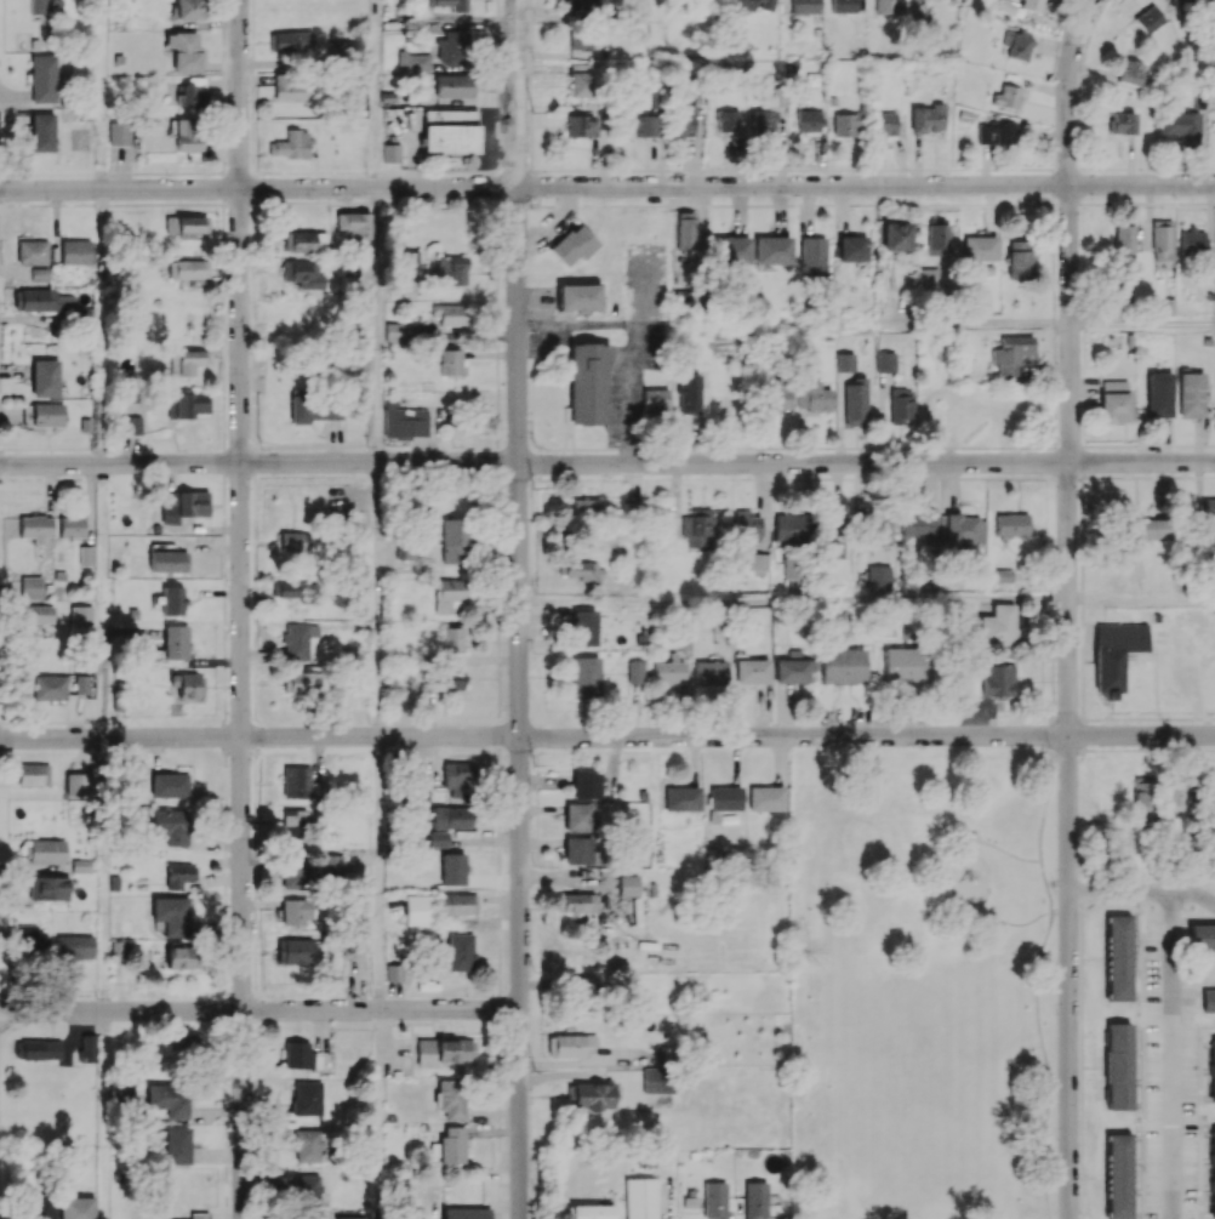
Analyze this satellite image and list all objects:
building: (1181, 2)
building: (38, 4)
building: (446, 4)
building: (581, 5)
building: (749, 5)
building: (1032, 5)
building: (805, 6)
building: (842, 6)
building: (886, 6)
building: (188, 8)
building: (1148, 19)
building: (290, 41)
building: (581, 44)
building: (1017, 44)
building: (454, 47)
building: (183, 51)
building: (1130, 72)
building: (44, 78)
building: (580, 79)
building: (454, 85)
building: (291, 86)
road: (1069, 90)
building: (192, 92)
road: (375, 93)
building: (1008, 97)
building: (683, 115)
building: (928, 118)
building: (729, 120)
building: (764, 120)
building: (809, 120)
building: (884, 123)
building: (1120, 123)
building: (845, 124)
building: (1179, 124)
building: (580, 125)
building: (645, 125)
building: (449, 131)
building: (42, 132)
building: (118, 132)
building: (187, 133)
building: (996, 133)
building: (290, 144)
building: (390, 153)
road: (865, 184)
road: (257, 187)
building: (353, 223)
building: (186, 226)
building: (895, 235)
building: (936, 238)
building: (1162, 239)
building: (303, 240)
building: (1192, 241)
building: (685, 243)
building: (1124, 243)
building: (574, 244)
building: (980, 247)
building: (852, 249)
building: (731, 250)
building: (771, 250)
building: (32, 251)
building: (75, 251)
building: (812, 256)
building: (1019, 258)
building: (405, 261)
building: (187, 268)
building: (451, 269)
building: (39, 274)
building: (303, 274)
building: (928, 278)
building: (578, 297)
building: (36, 300)
building: (450, 314)
road: (1142, 323)
road: (375, 324)
road: (976, 324)
road: (102, 326)
building: (397, 331)
road: (637, 335)
building: (1012, 357)
building: (186, 360)
building: (451, 361)
building: (844, 361)
building: (885, 361)
building: (45, 377)
building: (587, 382)
building: (689, 392)
building: (776, 393)
building: (1159, 394)
building: (1191, 394)
building: (811, 395)
building: (654, 399)
building: (856, 399)
building: (1114, 400)
building: (187, 405)
building: (901, 405)
building: (314, 409)
building: (47, 414)
building: (403, 421)
building: (130, 425)
road: (259, 461)
road: (866, 462)
building: (184, 502)
building: (584, 508)
building: (1208, 520)
building: (747, 524)
building: (1011, 524)
building: (72, 525)
building: (918, 525)
building: (785, 526)
building: (36, 528)
building: (696, 528)
building: (1145, 528)
building: (878, 529)
building: (965, 530)
building: (833, 534)
building: (295, 541)
building: (451, 541)
building: (86, 556)
building: (167, 560)
building: (759, 562)
building: (879, 577)
building: (30, 587)
building: (295, 589)
building: (447, 596)
road: (377, 598)
building: (172, 599)
road: (793, 599)
road: (1141, 599)
road: (240, 609)
road: (519, 609)
building: (39, 619)
building: (80, 620)
building: (998, 625)
building: (583, 627)
building: (451, 639)
building: (298, 640)
building: (176, 642)
building: (1116, 653)
building: (844, 666)
building: (906, 666)
building: (793, 668)
building: (634, 671)
building: (669, 671)
building: (752, 671)
building: (709, 672)
building: (584, 677)
building: (449, 680)
building: (998, 680)
building: (81, 684)
building: (188, 684)
building: (303, 684)
building: (49, 687)
road: (1068, 701)
road: (259, 735)
road: (866, 735)
building: (34, 774)
building: (460, 775)
building: (296, 781)
building: (79, 784)
building: (169, 785)
building: (584, 785)
building: (1142, 793)
building: (1175, 796)
building: (683, 798)
building: (766, 798)
road: (1046, 798)
building: (577, 816)
building: (451, 818)
building: (292, 824)
building: (171, 825)
building: (437, 838)
building: (47, 850)
building: (580, 850)
road: (1006, 855)
building: (332, 866)
building: (452, 868)
building: (293, 871)
road: (378, 872)
road: (104, 873)
building: (179, 875)
building: (629, 885)
road: (1044, 885)
building: (52, 888)
road: (1142, 889)
building: (575, 902)
building: (456, 904)
building: (417, 910)
building: (297, 911)
building: (170, 915)
road: (1004, 922)
building: (1202, 936)
building: (30, 942)
building: (74, 946)
building: (119, 950)
building: (295, 951)
building: (460, 951)
building: (181, 955)
building: (1118, 957)
building: (394, 972)
park: (923, 976)
building: (583, 993)
road: (258, 1009)
building: (186, 1041)
building: (570, 1044)
building: (87, 1048)
building: (38, 1049)
building: (444, 1050)
road: (1169, 1054)
building: (301, 1055)
road: (1045, 1064)
building: (1118, 1066)
building: (1213, 1071)
building: (657, 1080)
building: (121, 1092)
building: (593, 1095)
building: (307, 1098)
building: (451, 1098)
building: (170, 1099)
building: (452, 1144)
building: (176, 1145)
building: (306, 1145)
building: (1213, 1172)
building: (1118, 1175)
building: (307, 1190)
building: (639, 1198)
building: (714, 1200)
building: (755, 1200)
building: (39, 1207)
building: (76, 1207)
building: (592, 1212)
building: (466, 1213)
building: (198, 1215)
building: (346, 1217)

